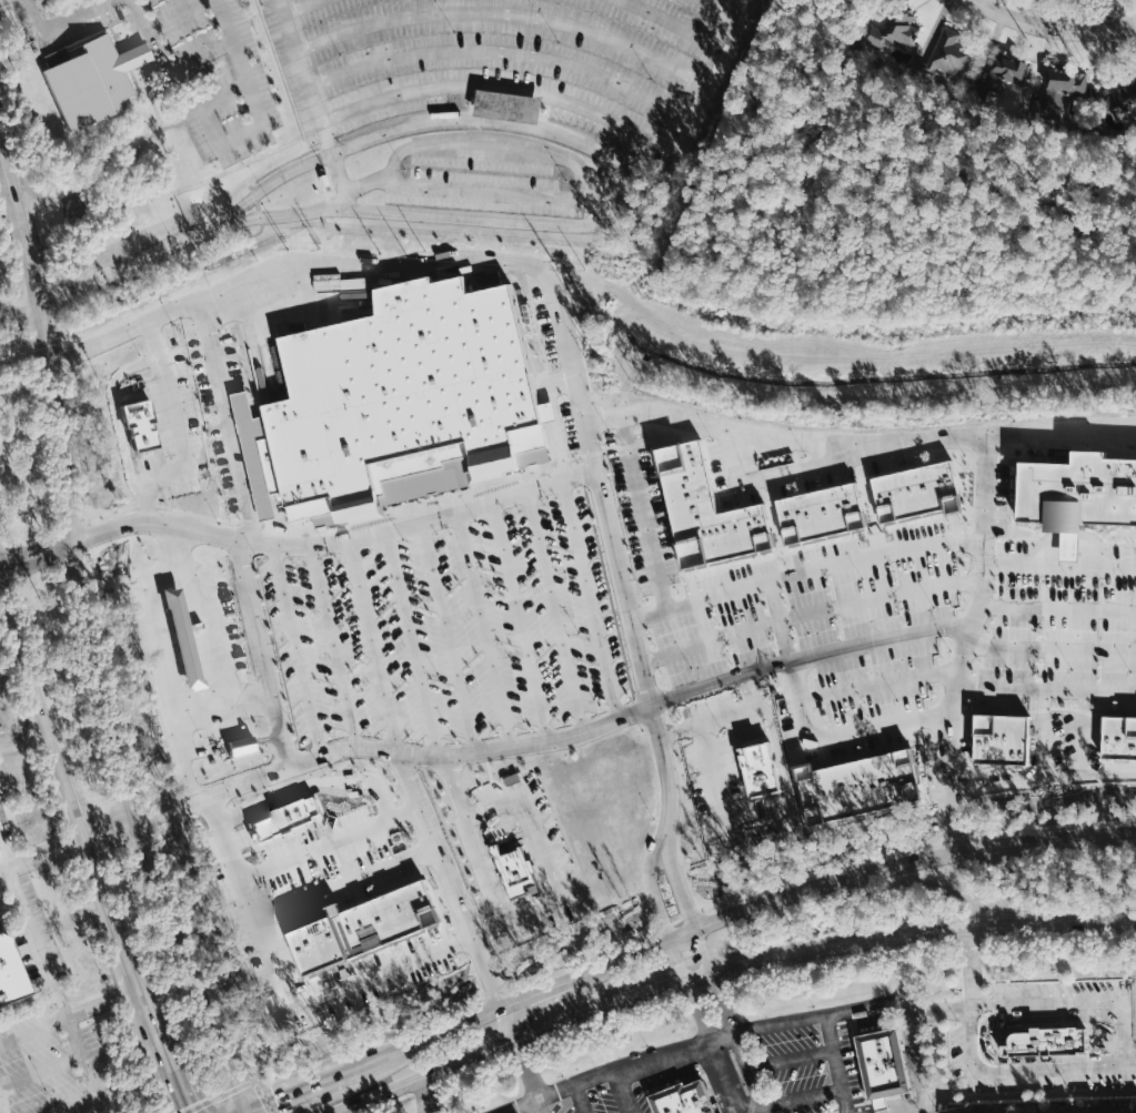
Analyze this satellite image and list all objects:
road: (299, 6)
road: (723, 7)
road: (34, 14)
road: (74, 14)
road: (179, 14)
road: (503, 14)
road: (671, 22)
road: (1050, 26)
building: (894, 32)
road: (151, 36)
road: (501, 52)
road: (139, 55)
building: (945, 55)
building: (135, 57)
road: (202, 58)
parking lot: (516, 61)
road: (241, 62)
parking lot: (190, 64)
road: (706, 73)
building: (998, 74)
building: (90, 82)
road: (497, 88)
building: (1056, 90)
building: (1124, 97)
road: (313, 104)
building: (509, 105)
road: (526, 115)
road: (209, 122)
road: (883, 149)
road: (91, 163)
road: (49, 168)
park: (98, 168)
road: (615, 170)
road: (579, 172)
parking lot: (491, 174)
road: (119, 181)
road: (369, 182)
road: (255, 203)
road: (21, 227)
road: (135, 257)
road: (161, 263)
road: (348, 263)
road: (20, 306)
road: (127, 331)
building: (401, 402)
road: (120, 415)
parking lot: (228, 418)
building: (138, 425)
road: (182, 432)
road: (857, 441)
building: (912, 486)
building: (1075, 492)
building: (701, 505)
building: (817, 508)
road: (644, 512)
road: (299, 544)
road: (73, 561)
road: (1058, 564)
road: (805, 570)
road: (590, 600)
road: (1056, 609)
road: (108, 610)
road: (808, 611)
road: (554, 613)
road: (519, 623)
parking lot: (652, 623)
parking lot: (230, 625)
road: (208, 628)
road: (483, 631)
building: (182, 637)
gas station: (182, 637)
road: (446, 639)
road: (411, 645)
road: (965, 645)
road: (332, 646)
road: (372, 646)
road: (1050, 647)
road: (296, 650)
road: (263, 654)
road: (640, 654)
road: (161, 655)
road: (810, 655)
road: (31, 677)
road: (877, 685)
road: (1044, 687)
road: (223, 705)
road: (724, 718)
parking lot: (225, 727)
road: (23, 737)
road: (836, 737)
building: (1009, 737)
building: (1104, 739)
road: (232, 743)
building: (240, 746)
road: (781, 751)
road: (392, 752)
building: (756, 768)
road: (1043, 778)
road: (318, 781)
road: (717, 785)
road: (456, 786)
building: (852, 786)
road: (341, 790)
road: (1104, 796)
road: (76, 806)
building: (284, 817)
road: (0, 826)
road: (763, 826)
road: (110, 828)
road: (772, 837)
road: (7, 843)
road: (332, 843)
road: (144, 846)
parking lot: (532, 850)
road: (543, 852)
road: (42, 853)
road: (486, 868)
building: (513, 872)
parking lot: (342, 873)
road: (81, 874)
road: (349, 884)
road: (654, 888)
parking lot: (24, 894)
road: (254, 901)
road: (685, 908)
road: (12, 914)
road: (684, 915)
road: (118, 924)
building: (364, 927)
road: (466, 927)
road: (486, 929)
road: (680, 935)
road: (1060, 940)
road: (39, 943)
road: (935, 945)
road: (678, 960)
road: (807, 965)
road: (969, 968)
road: (722, 971)
parking lot: (332, 972)
road: (383, 972)
building: (11, 974)
road: (705, 990)
road: (199, 992)
street lamp: (887, 993)
road: (1067, 993)
road: (725, 1003)
road: (1078, 1003)
road: (105, 1005)
street lamp: (814, 1006)
road: (941, 1009)
road: (698, 1012)
road: (606, 1020)
road: (989, 1020)
road: (913, 1024)
road: (157, 1026)
road: (34, 1033)
parking lot: (1041, 1035)
building: (1045, 1040)
street lamp: (647, 1045)
road: (703, 1048)
road: (522, 1052)
road: (792, 1059)
parking lot: (53, 1063)
building: (882, 1063)
road: (836, 1064)
road: (1132, 1064)
parking lot: (795, 1066)
road: (750, 1069)
road: (1022, 1070)
road: (42, 1072)
road: (479, 1072)
street lamp: (821, 1074)
road: (175, 1076)
road: (724, 1079)
road: (94, 1081)
street lamp: (744, 1084)
road: (430, 1090)
road: (429, 1093)
road: (625, 1093)
road: (219, 1096)
building: (682, 1096)
road: (804, 1096)
parking lot: (585, 1097)
road: (580, 1099)
road: (906, 1101)
building: (881, 1102)
road: (392, 1104)
road: (882, 1104)
road: (539, 1106)
road: (751, 1106)
road: (766, 1107)
road: (862, 1107)
building: (1115, 1109)
building: (1021, 1110)
building: (1043, 1110)
building: (1066, 1110)
building: (1092, 1110)
building: (1132, 1110)
road: (341, 1111)
building: (954, 1111)
building: (975, 1111)
building: (998, 1111)
road: (242, 1112)
road: (244, 1112)
traffic signals: (244, 1112)

